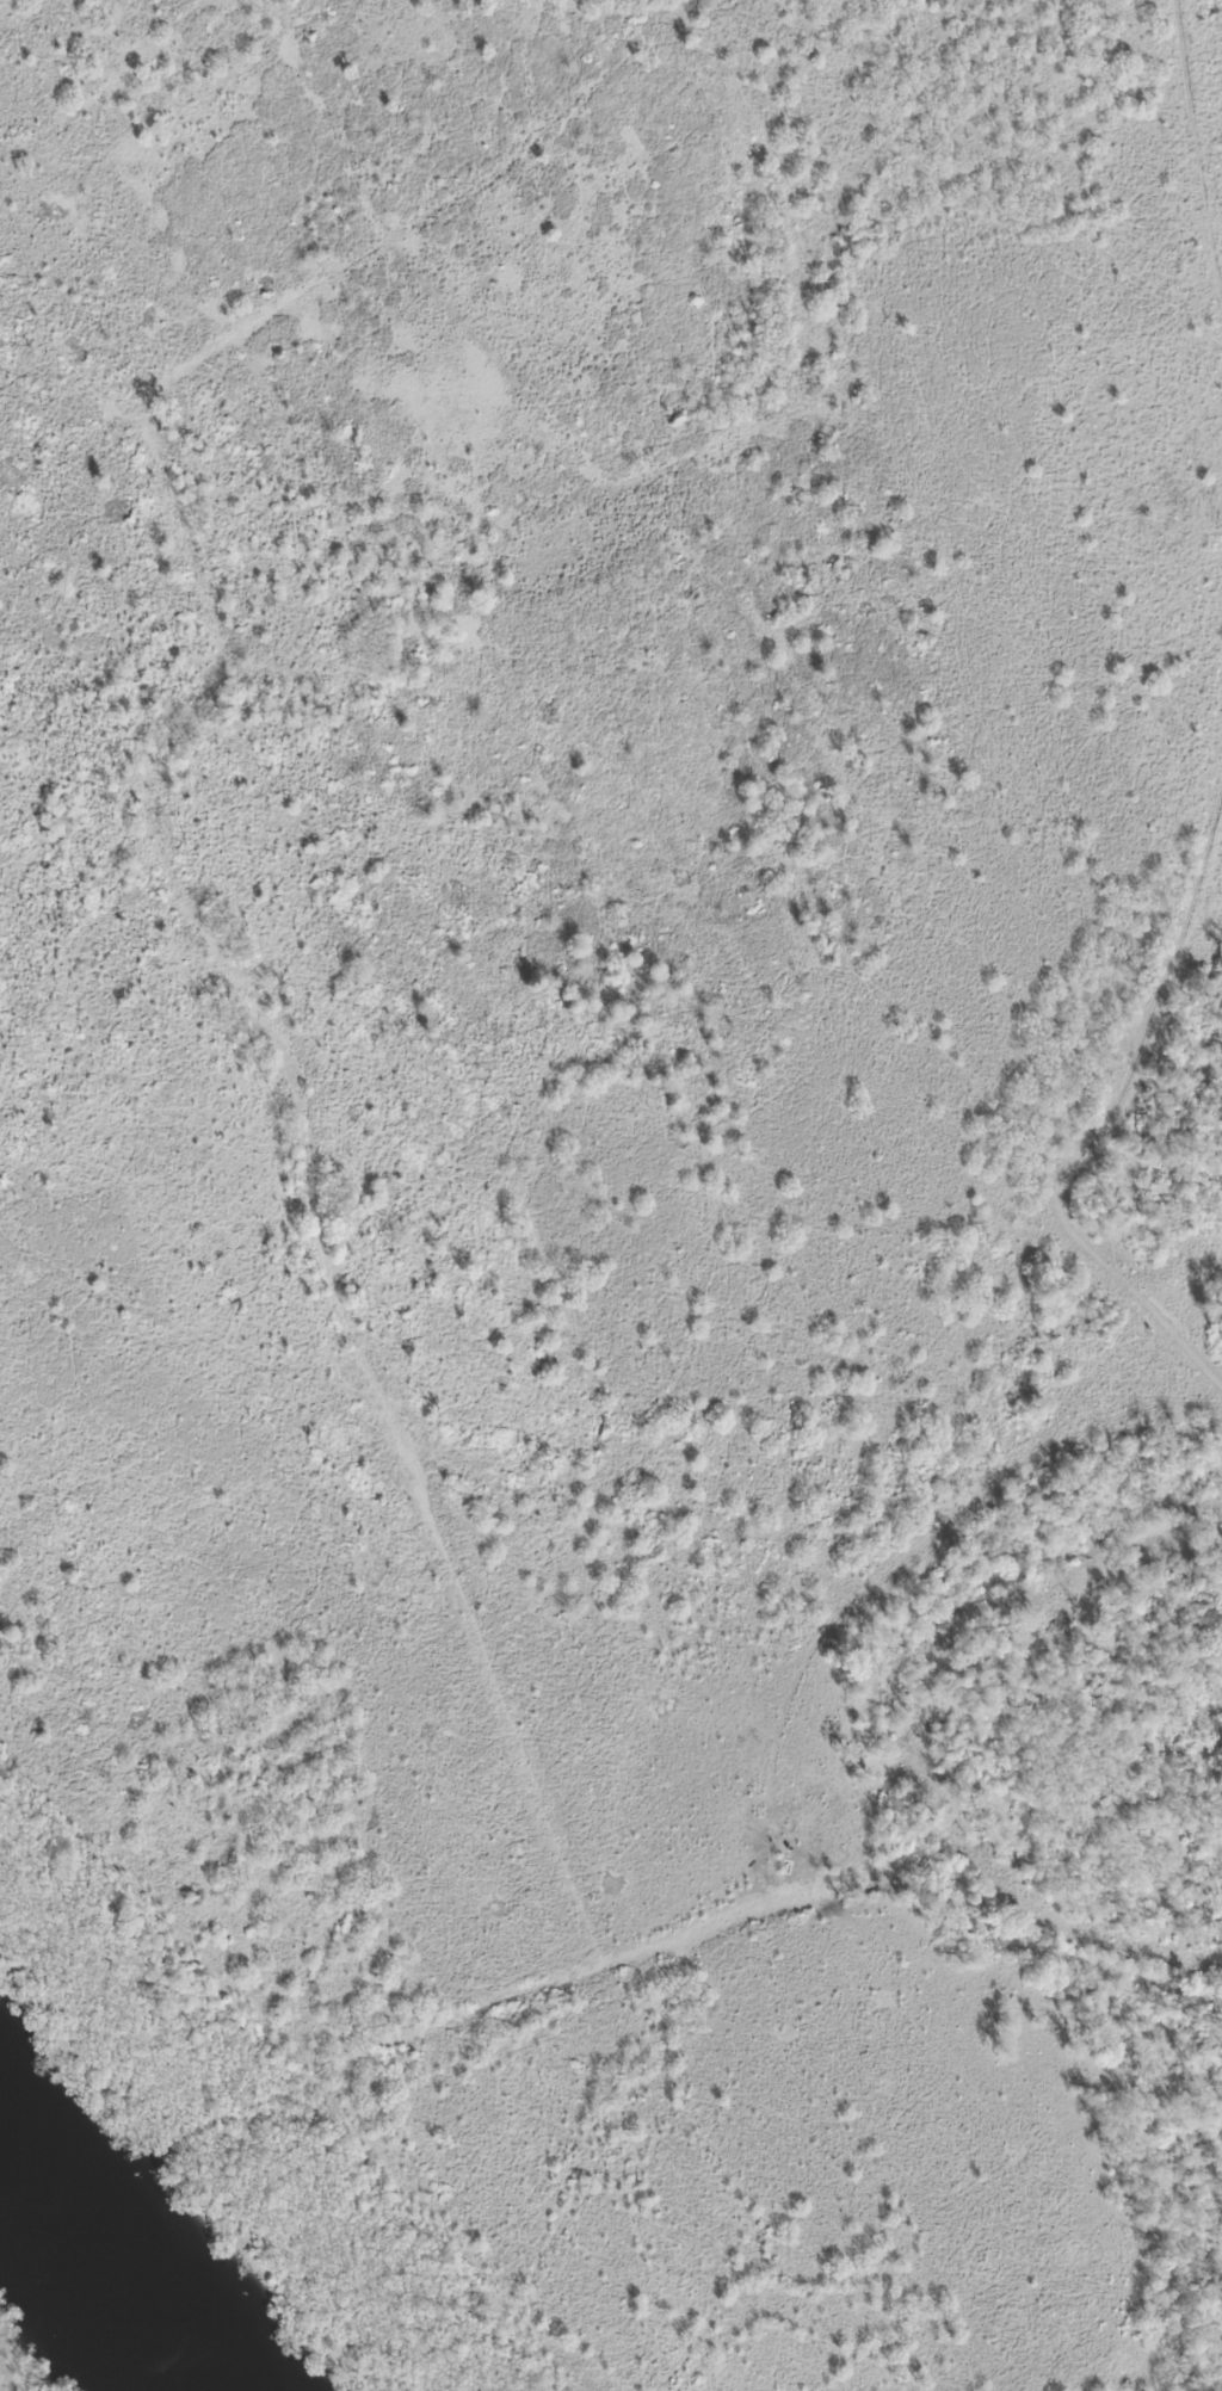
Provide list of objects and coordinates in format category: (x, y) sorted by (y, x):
road: (1201, 121)
road: (1099, 1117)

